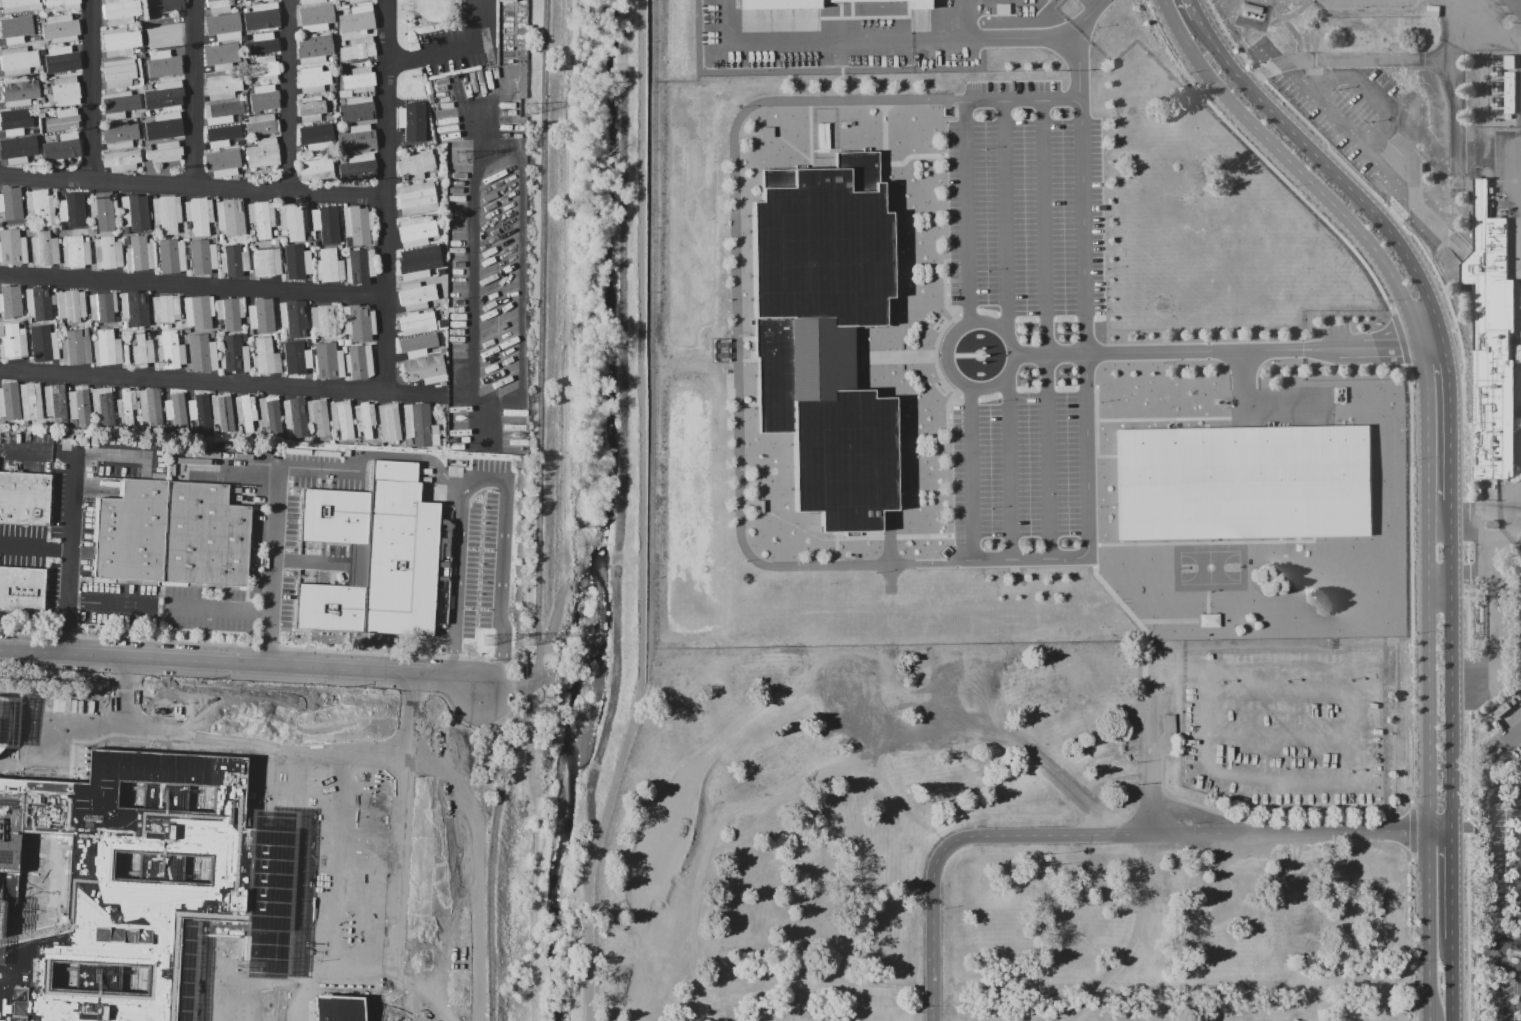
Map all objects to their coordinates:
building: (246, 0)
building: (266, 0)
building: (310, 1)
building: (355, 1)
parking lot: (1082, 2)
building: (342, 3)
building: (782, 3)
building: (63, 4)
building: (918, 4)
building: (20, 5)
building: (1516, 5)
building: (163, 6)
building: (219, 6)
building: (120, 11)
building: (262, 17)
road: (955, 18)
building: (41, 19)
building: (314, 19)
building: (361, 20)
building: (144, 23)
building: (331, 26)
road: (1485, 26)
building: (224, 27)
building: (18, 28)
building: (60, 28)
building: (165, 31)
road: (801, 36)
road: (993, 36)
building: (120, 41)
building: (263, 43)
building: (343, 43)
road: (1076, 45)
road: (454, 47)
building: (315, 48)
building: (141, 50)
building: (358, 50)
building: (45, 53)
building: (221, 56)
building: (331, 59)
road: (1367, 59)
building: (65, 60)
building: (18, 61)
building: (164, 63)
building: (40, 68)
building: (266, 69)
building: (119, 73)
building: (343, 73)
building: (313, 80)
building: (359, 80)
building: (135, 83)
building: (148, 86)
building: (331, 87)
building: (220, 88)
road: (1371, 89)
building: (19, 90)
power substation: (1493, 90)
building: (1507, 90)
building: (65, 91)
road: (94, 92)
road: (198, 95)
building: (165, 96)
building: (267, 97)
road: (291, 97)
building: (42, 100)
building: (342, 101)
building: (35, 103)
building: (120, 104)
building: (310, 108)
building: (357, 110)
power tower: (531, 111)
building: (222, 112)
building: (46, 114)
building: (139, 114)
building: (330, 118)
building: (411, 118)
building: (239, 119)
building: (60, 122)
building: (16, 123)
building: (262, 125)
building: (163, 126)
building: (120, 135)
building: (222, 137)
building: (312, 138)
building: (357, 140)
building: (140, 142)
building: (248, 142)
road: (1364, 144)
building: (61, 148)
building: (18, 150)
building: (165, 152)
building: (263, 152)
power tower: (461, 157)
building: (121, 160)
building: (221, 163)
building: (415, 165)
building: (316, 166)
building: (358, 167)
building: (247, 175)
building: (432, 175)
road: (193, 189)
road: (386, 195)
building: (416, 198)
building: (11, 206)
building: (41, 207)
building: (72, 208)
building: (103, 210)
building: (135, 213)
building: (167, 213)
building: (199, 215)
building: (230, 217)
road: (1005, 217)
building: (262, 218)
building: (294, 220)
building: (324, 223)
building: (358, 225)
building: (93, 226)
building: (22, 228)
building: (61, 228)
building: (54, 230)
building: (127, 230)
building: (417, 231)
building: (445, 231)
building: (251, 232)
building: (284, 232)
building: (221, 236)
building: (252, 240)
building: (275, 241)
building: (213, 242)
building: (307, 245)
building: (12, 248)
building: (244, 248)
building: (44, 249)
building: (107, 252)
building: (340, 252)
building: (76, 253)
building: (139, 254)
building: (172, 255)
building: (445, 255)
building: (201, 258)
building: (234, 261)
building: (268, 262)
building: (300, 262)
building: (416, 264)
building: (329, 266)
building: (360, 266)
road: (521, 271)
road: (194, 286)
road: (473, 290)
building: (415, 296)
building: (444, 300)
building: (10, 301)
building: (38, 303)
building: (71, 305)
building: (103, 307)
building: (444, 307)
road: (1084, 307)
building: (136, 308)
building: (166, 308)
parking lot: (1019, 310)
building: (199, 311)
building: (230, 313)
building: (261, 315)
building: (293, 318)
building: (30, 319)
building: (325, 320)
building: (22, 322)
building: (359, 322)
building: (415, 322)
building: (116, 325)
building: (125, 325)
building: (60, 326)
building: (167, 326)
building: (219, 328)
parking lot: (1333, 329)
road: (1046, 330)
building: (187, 331)
building: (181, 332)
building: (156, 333)
building: (149, 334)
building: (214, 334)
building: (251, 334)
building: (440, 334)
road: (736, 334)
building: (275, 336)
building: (432, 337)
building: (826, 337)
building: (307, 340)
building: (12, 341)
building: (340, 342)
building: (348, 342)
building: (1489, 344)
building: (46, 346)
road: (945, 346)
building: (76, 347)
building: (414, 347)
building: (445, 347)
building: (107, 348)
building: (344, 350)
building: (144, 351)
building: (170, 351)
road: (1229, 352)
building: (203, 353)
building: (234, 355)
building: (265, 356)
building: (298, 359)
building: (328, 361)
building: (359, 362)
building: (426, 370)
road: (195, 380)
road: (1244, 381)
building: (10, 401)
building: (30, 401)
building: (56, 404)
building: (80, 405)
building: (127, 405)
building: (103, 407)
building: (150, 407)
building: (174, 407)
building: (197, 408)
building: (246, 411)
building: (222, 412)
building: (270, 413)
building: (318, 417)
building: (295, 418)
road: (482, 419)
building: (342, 420)
building: (364, 420)
building: (389, 422)
building: (420, 426)
road: (30, 450)
road: (73, 454)
road: (121, 457)
road: (1470, 464)
road: (1424, 465)
road: (313, 467)
road: (1450, 467)
road: (1007, 471)
road: (447, 474)
building: (1243, 483)
building: (25, 499)
road: (538, 513)
road: (1485, 514)
road: (276, 520)
building: (1490, 523)
building: (172, 534)
road: (35, 545)
road: (69, 554)
building: (379, 557)
road: (303, 561)
park: (1209, 566)
road: (501, 570)
road: (457, 575)
road: (1474, 575)
road: (213, 586)
building: (22, 590)
road: (209, 592)
road: (193, 596)
road: (72, 601)
road: (111, 603)
road: (209, 608)
road: (1498, 608)
road: (217, 609)
parking lot: (1518, 611)
road: (207, 623)
road: (206, 636)
power tower: (488, 640)
power tower: (527, 642)
road: (243, 663)
road: (508, 681)
road: (126, 691)
road: (512, 704)
road: (414, 708)
building: (4, 722)
road: (269, 735)
road: (413, 761)
road: (1159, 798)
road: (1486, 807)
road: (1469, 827)
building: (9, 828)
road: (1180, 835)
parking lot: (1514, 846)
road: (412, 852)
road: (447, 864)
parking lot: (425, 871)
building: (138, 885)
road: (1486, 894)
road: (405, 899)
road: (932, 949)
road: (1483, 959)
road: (972, 985)
road: (1499, 985)
building: (340, 1012)

